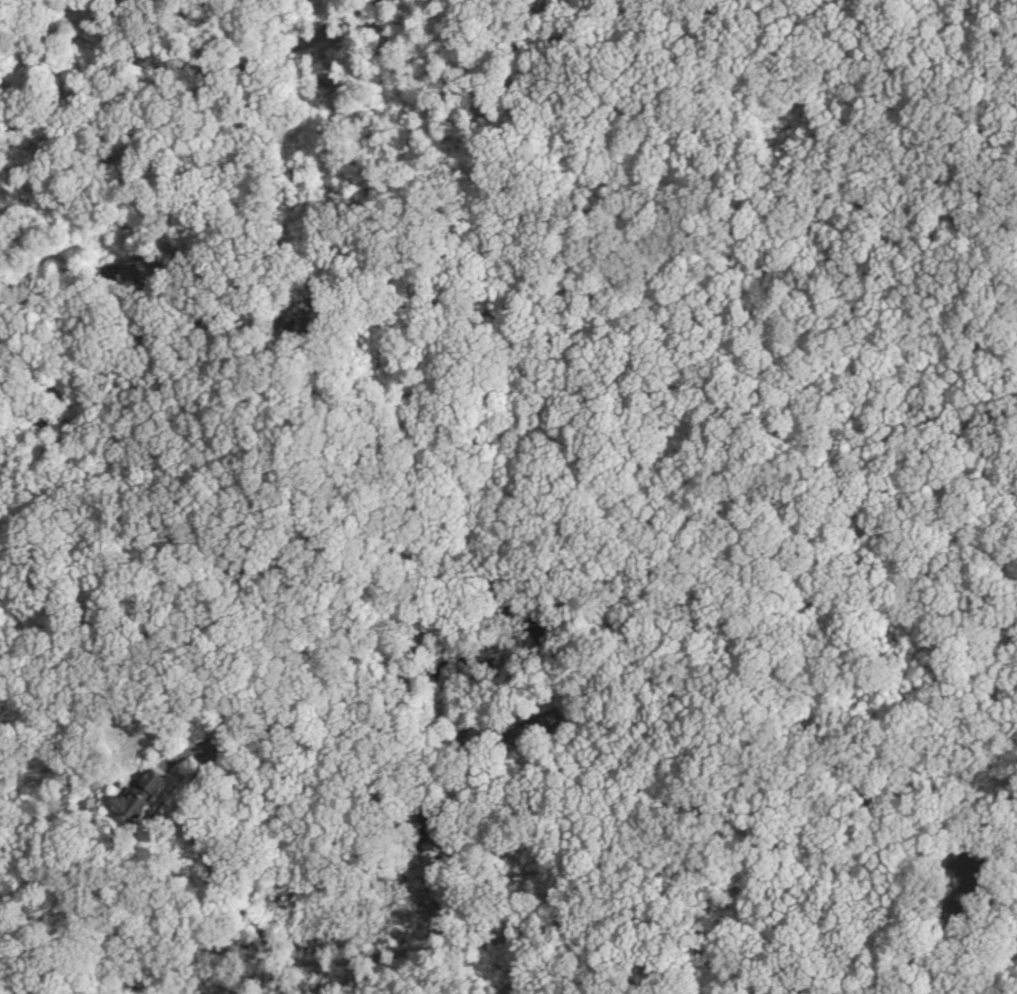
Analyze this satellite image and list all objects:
road: (201, 81)
building: (144, 782)
building: (124, 805)
road: (496, 845)
building: (973, 862)
road: (221, 880)
road: (373, 960)
road: (548, 967)
road: (310, 979)

